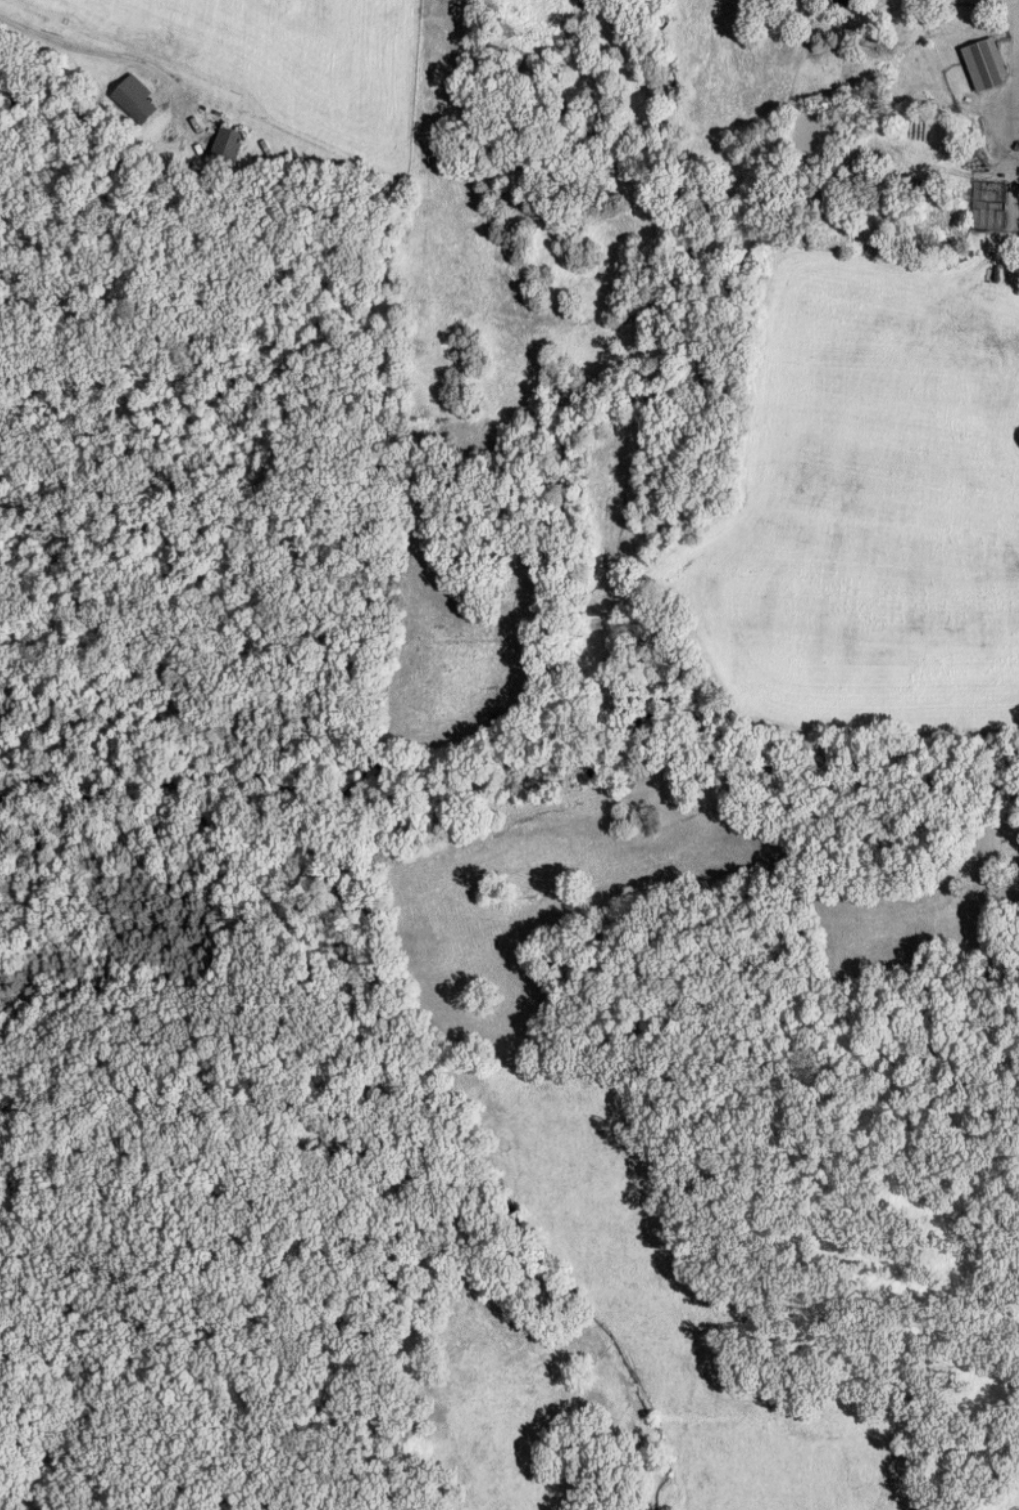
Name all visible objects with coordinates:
building: (848, 2)
road: (82, 46)
building: (990, 63)
road: (1015, 89)
building: (137, 100)
building: (231, 146)

